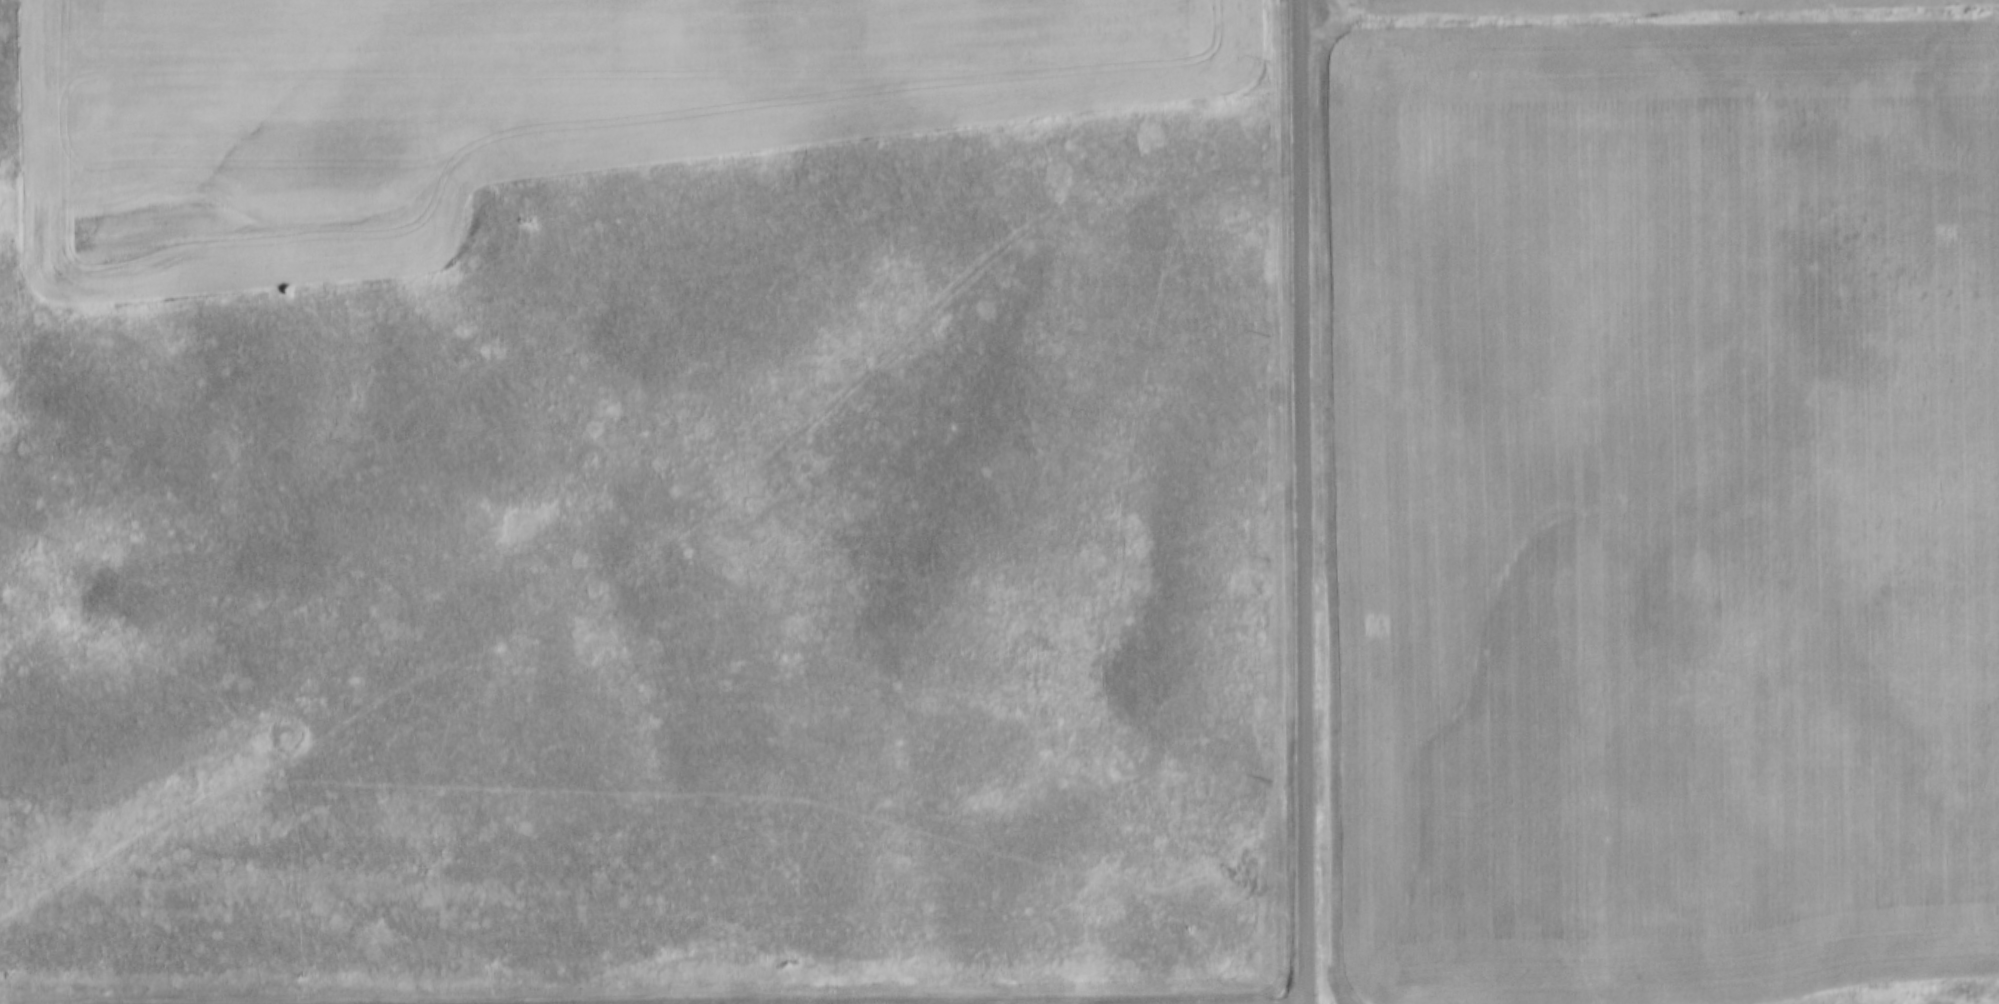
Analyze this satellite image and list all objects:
road: (1313, 501)

